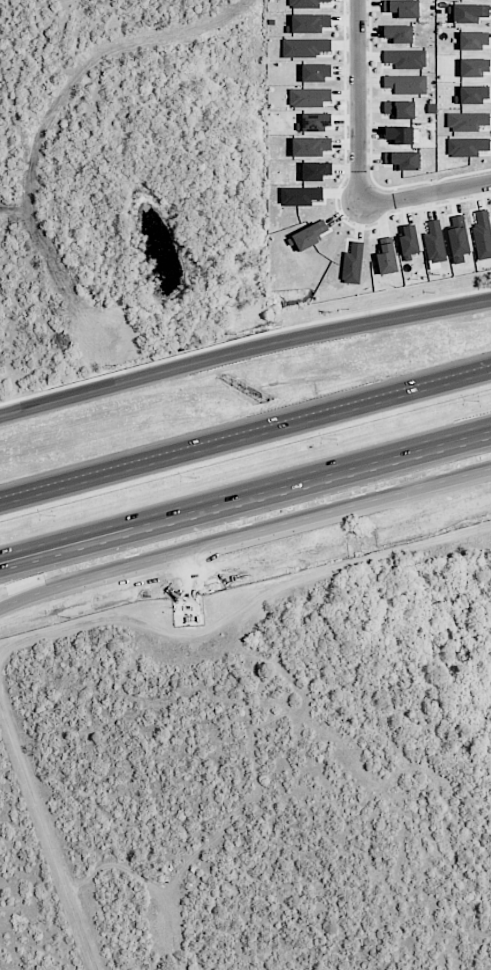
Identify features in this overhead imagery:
building: (306, 3)
building: (402, 8)
building: (470, 13)
building: (309, 23)
building: (398, 33)
building: (474, 40)
building: (304, 47)
building: (406, 59)
building: (475, 67)
building: (316, 72)
building: (406, 84)
building: (473, 95)
building: (309, 97)
road: (356, 103)
building: (400, 109)
building: (467, 121)
building: (315, 122)
building: (398, 134)
building: (311, 146)
building: (467, 146)
building: (403, 160)
building: (316, 171)
road: (424, 193)
building: (300, 196)
building: (482, 234)
building: (308, 236)
building: (458, 239)
building: (409, 240)
building: (435, 242)
building: (387, 259)
building: (353, 264)
road: (243, 354)
road: (245, 442)
road: (245, 489)
road: (244, 536)
road: (242, 619)
road: (47, 837)

